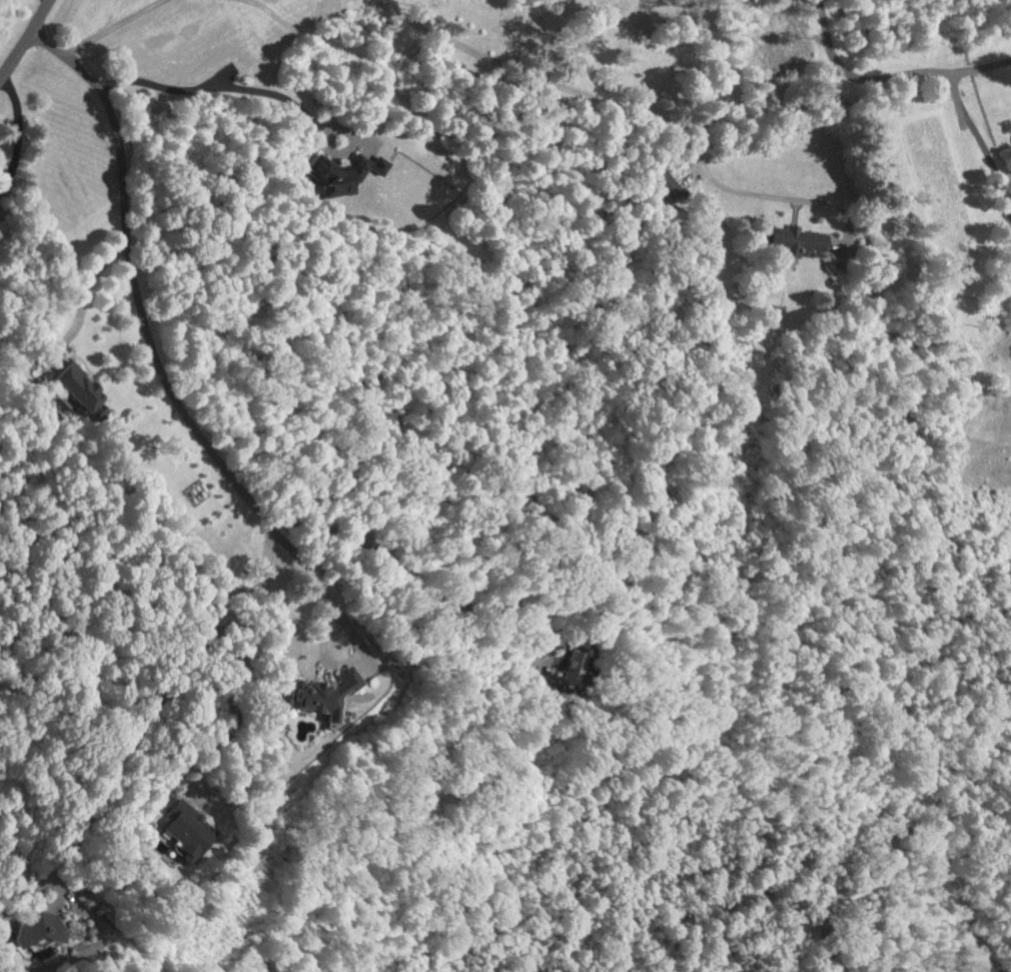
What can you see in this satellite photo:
road: (45, 3)
road: (113, 29)
road: (27, 40)
road: (890, 75)
road: (216, 88)
road: (611, 102)
road: (18, 133)
road: (977, 145)
building: (345, 175)
building: (673, 191)
building: (799, 241)
road: (83, 300)
road: (137, 300)
building: (84, 388)
road: (334, 610)
road: (249, 648)
road: (318, 654)
building: (570, 666)
building: (317, 691)
road: (200, 775)
building: (190, 832)
road: (17, 898)
road: (46, 903)
building: (45, 930)

